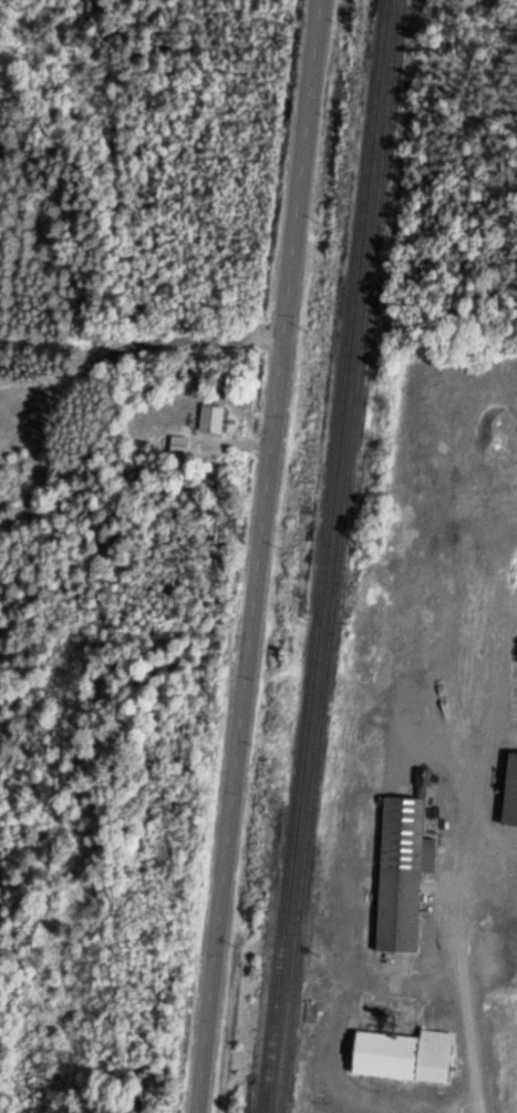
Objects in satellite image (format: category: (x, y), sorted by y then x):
road: (135, 363)
building: (209, 419)
building: (177, 445)
railway: (325, 555)
road: (260, 556)
railway: (335, 556)
building: (508, 792)
building: (400, 872)
building: (400, 1056)

